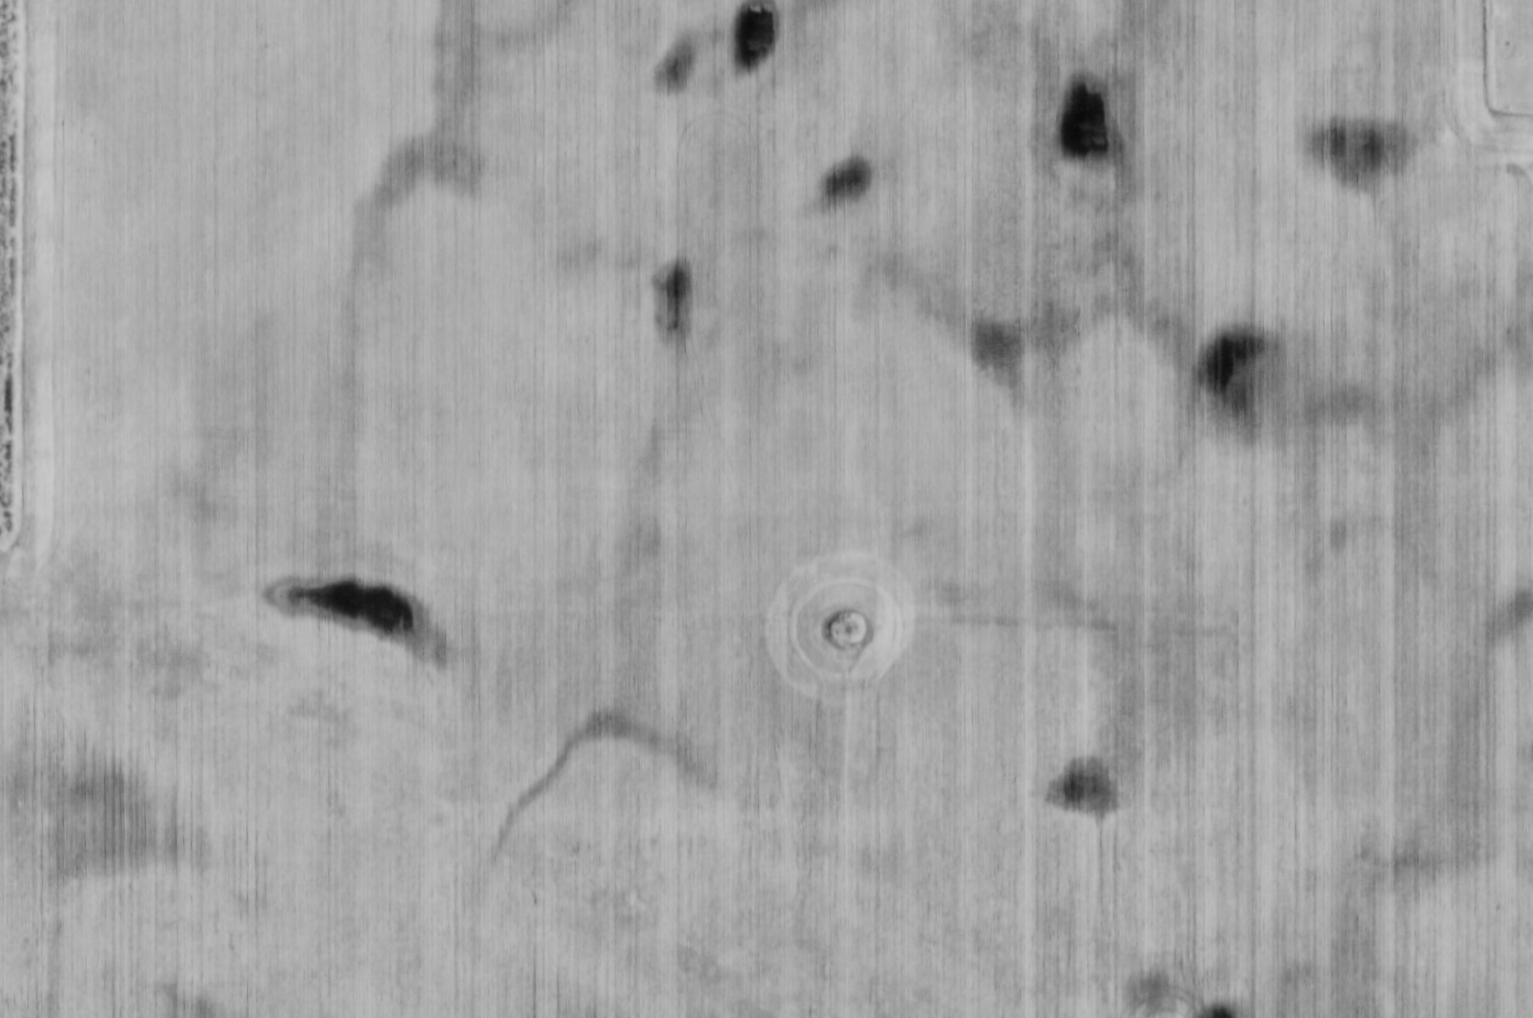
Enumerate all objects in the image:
park: (1511, 53)

